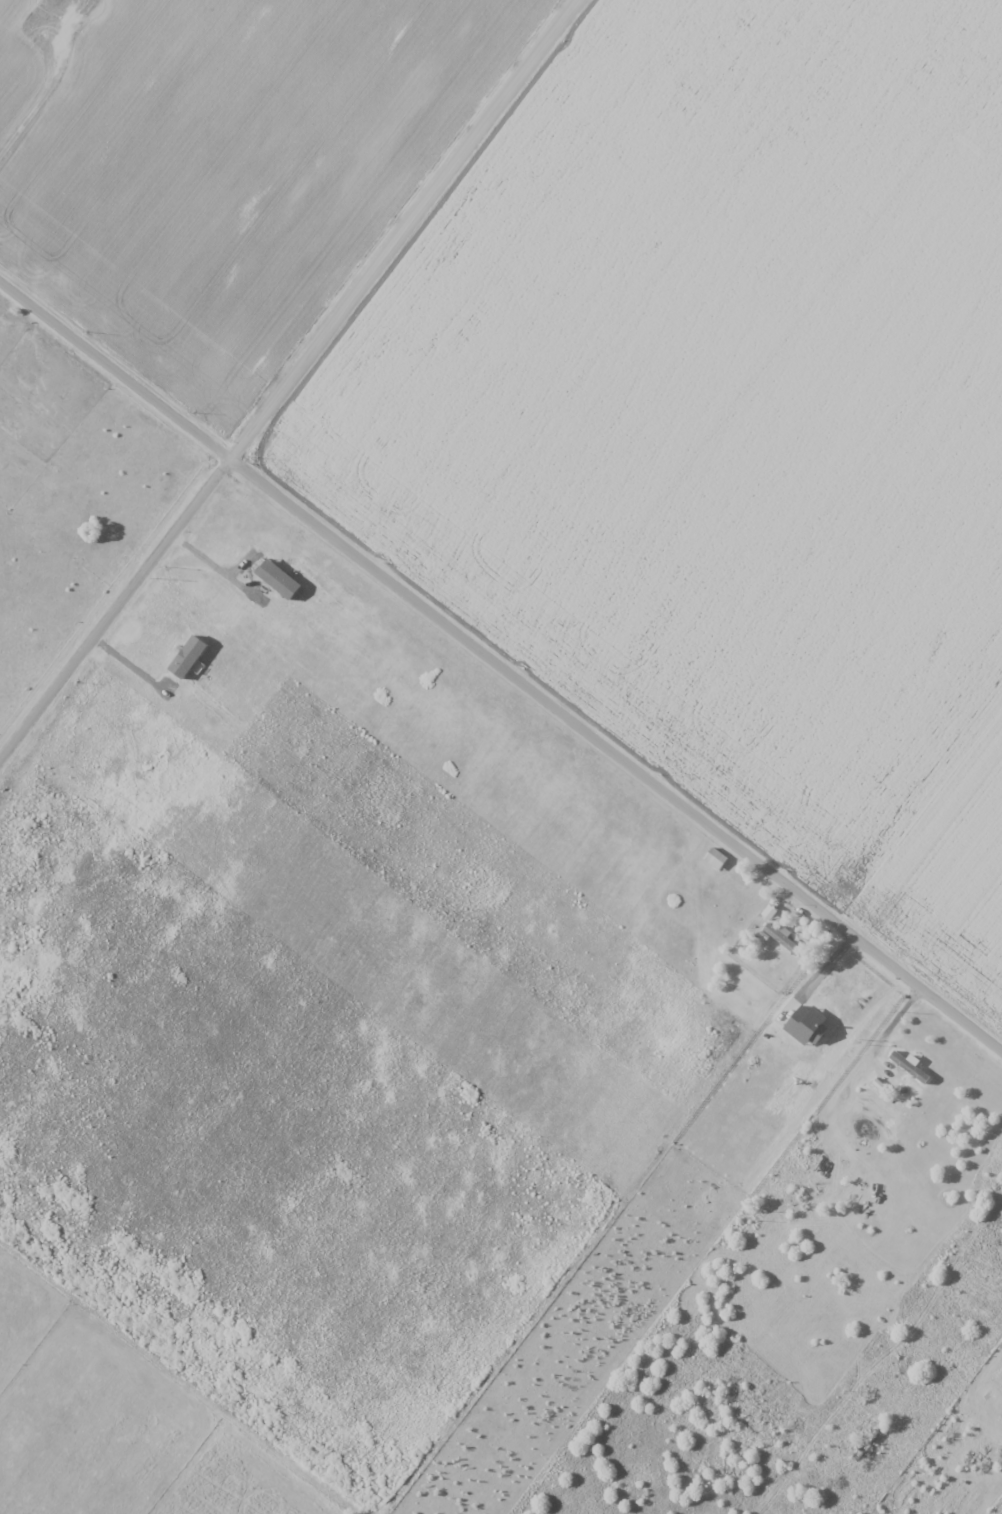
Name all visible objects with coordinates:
road: (298, 388)
road: (500, 673)
building: (715, 858)
building: (910, 1067)
building: (873, 1432)

